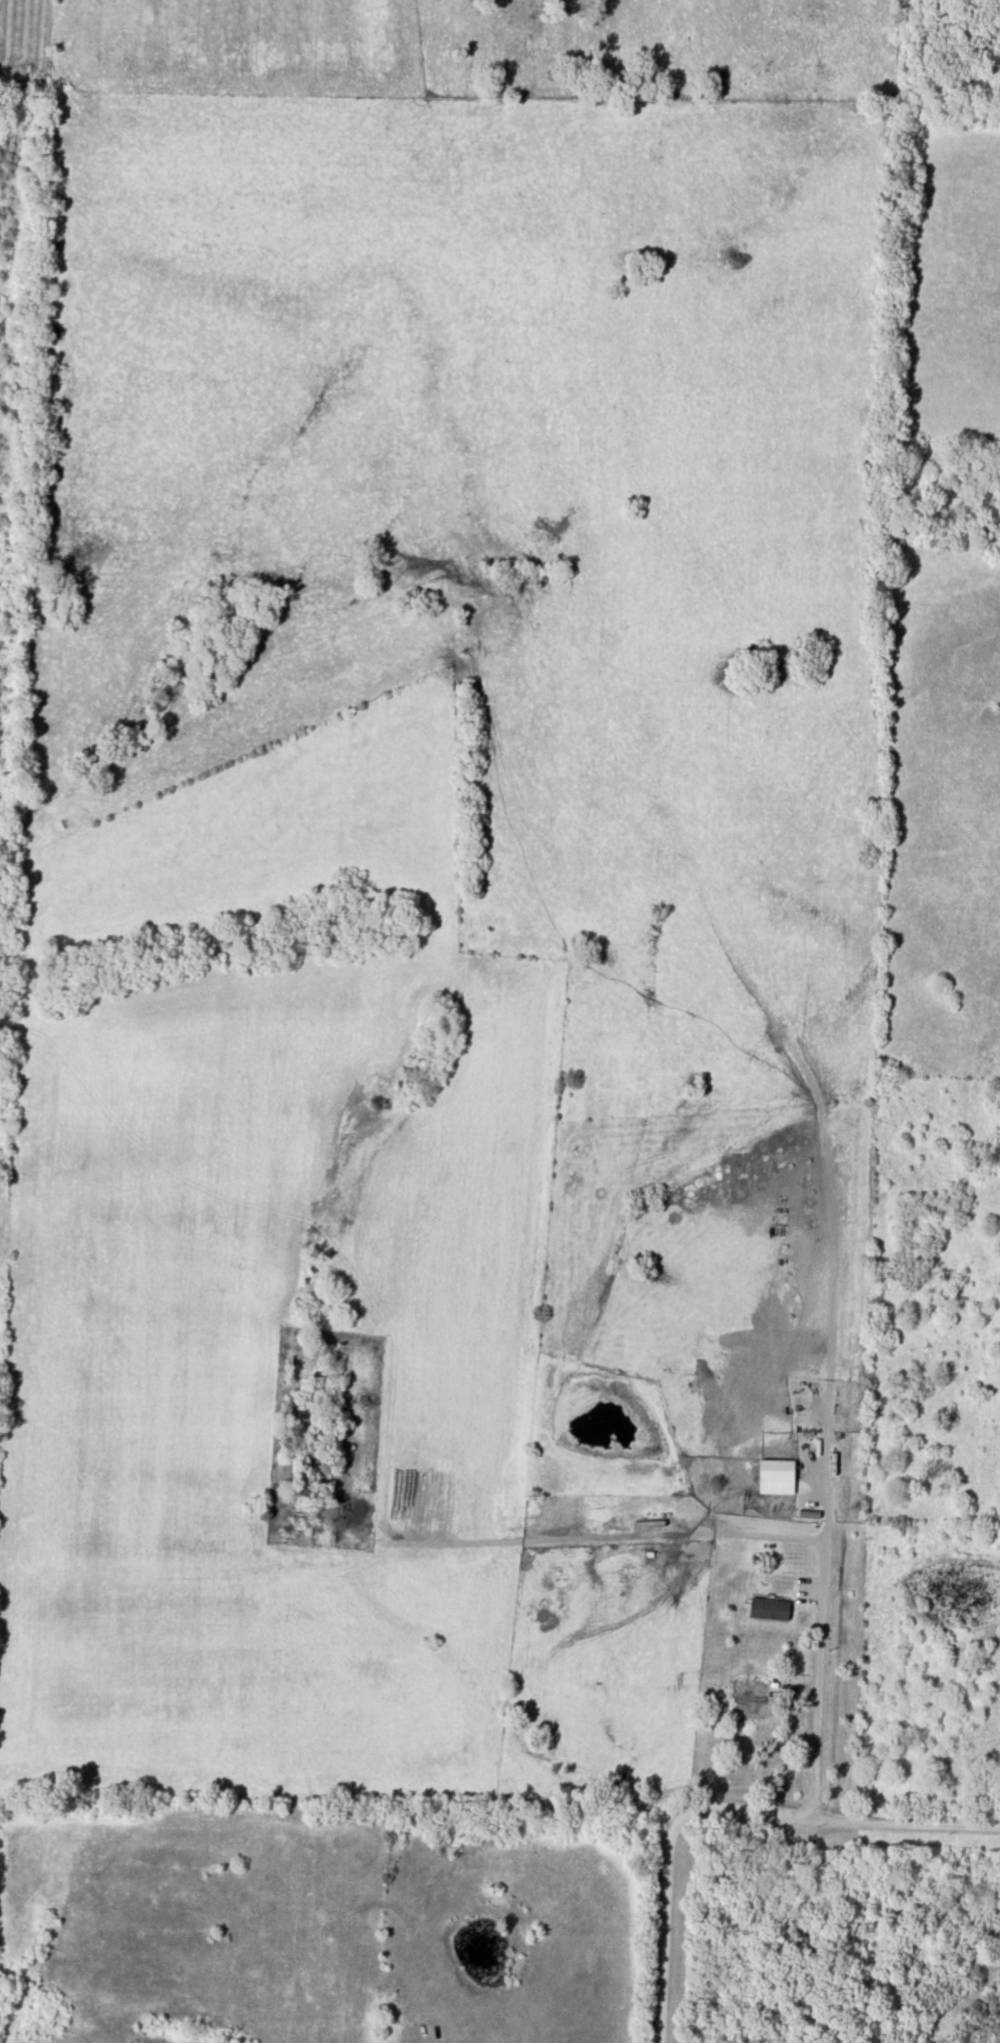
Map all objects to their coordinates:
building: (783, 1414)
building: (777, 1478)
building: (769, 1611)
road: (818, 1646)
building: (760, 1691)
road: (758, 1811)
road: (916, 1825)
road: (665, 1926)

